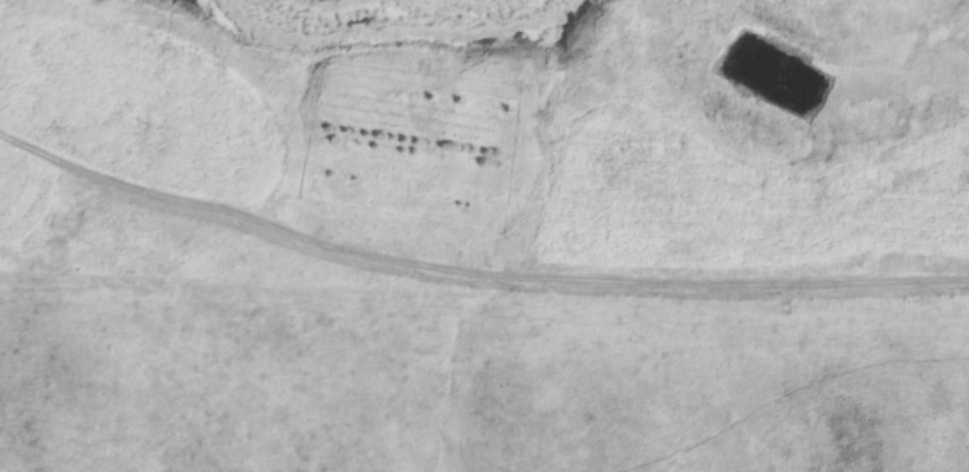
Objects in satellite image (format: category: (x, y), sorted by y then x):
road: (13, 138)

